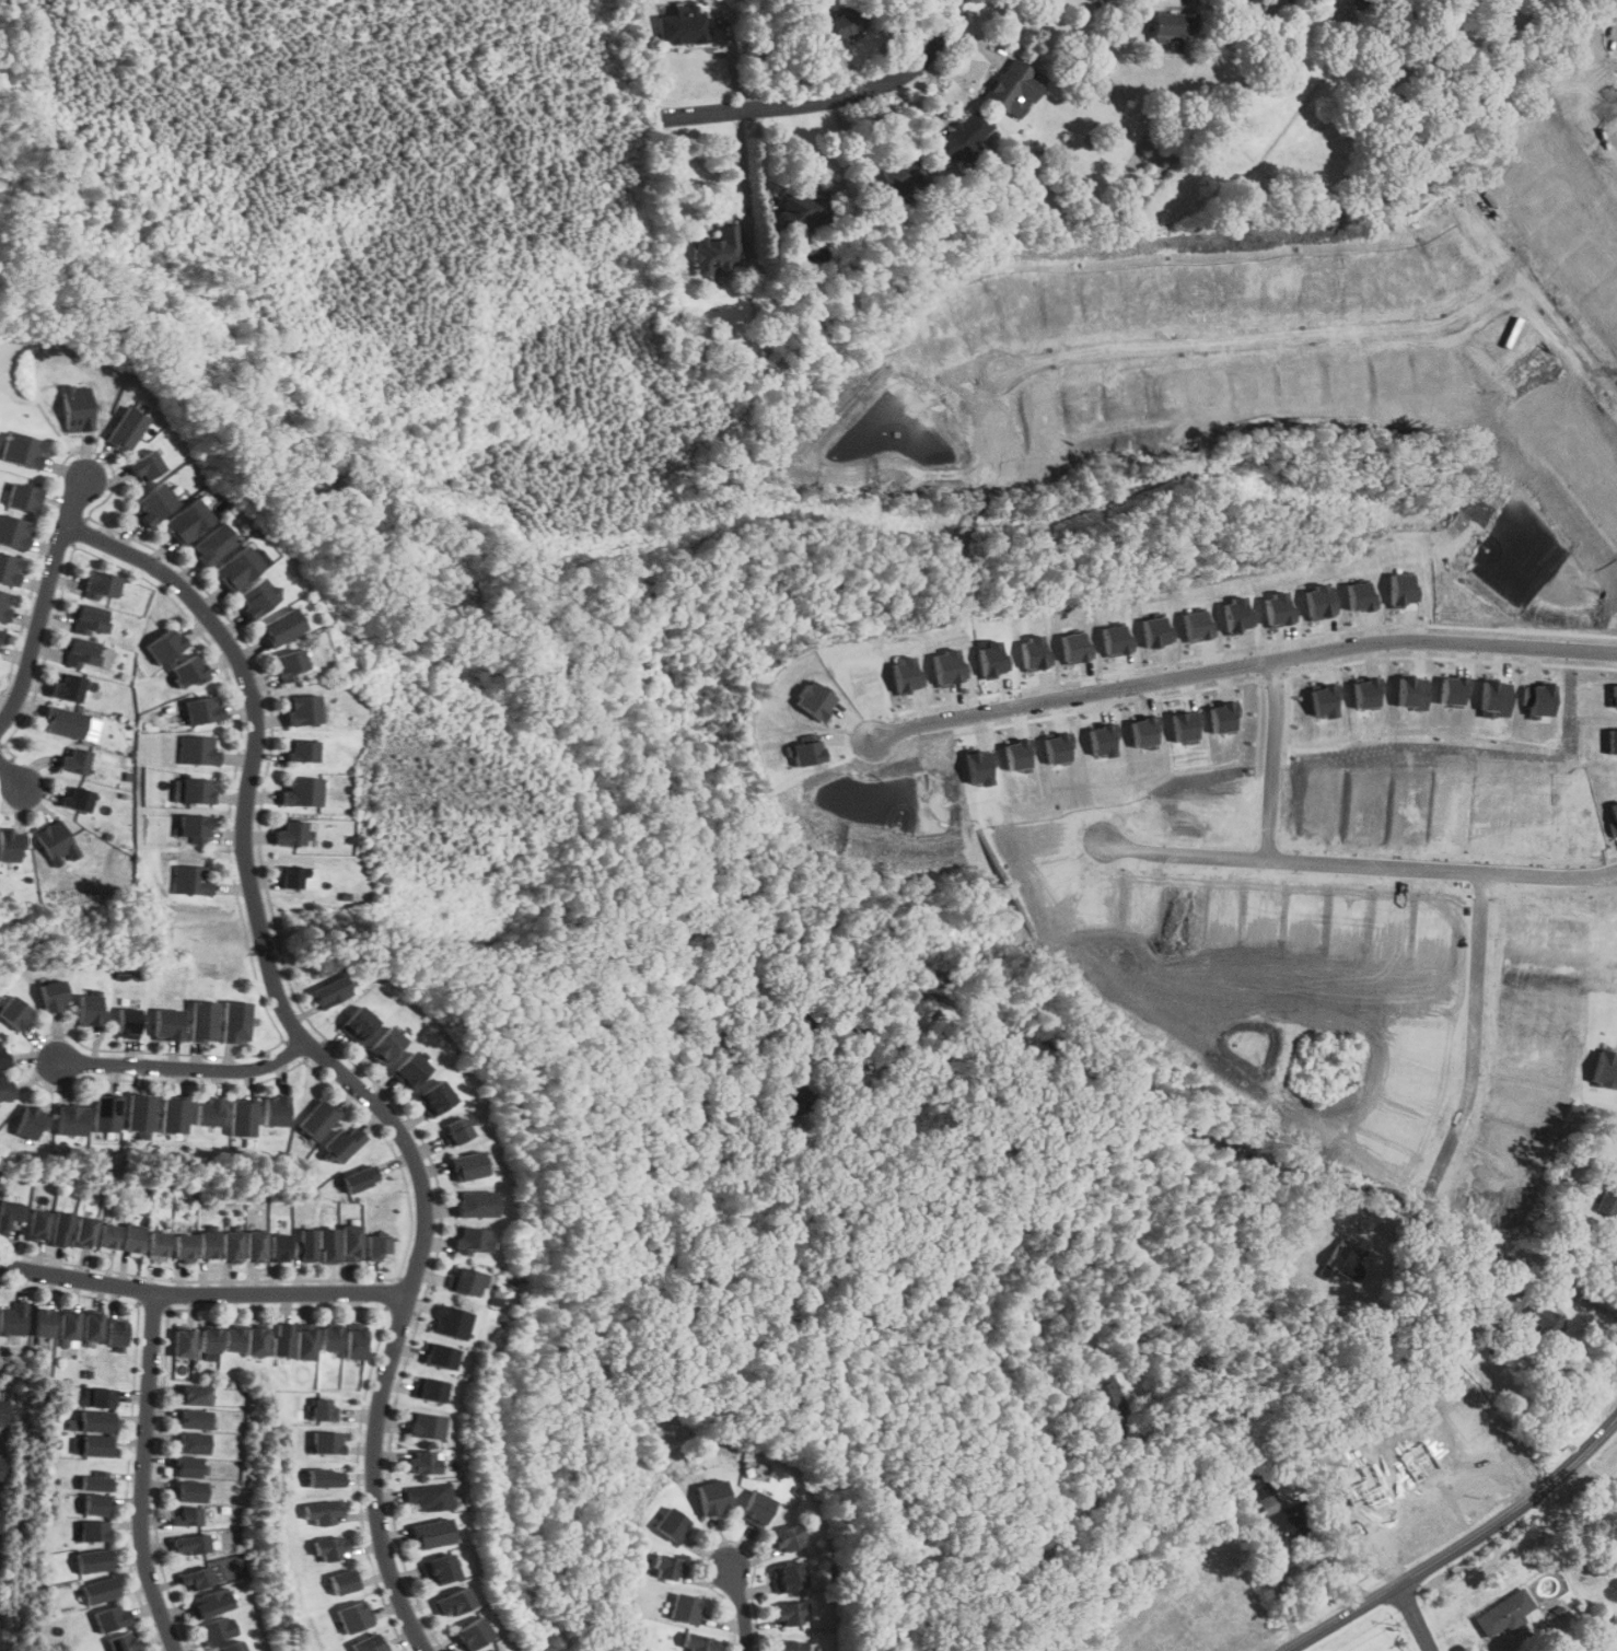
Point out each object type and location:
building: (1106, 0)
building: (1248, 3)
building: (1172, 23)
building: (844, 24)
building: (683, 25)
building: (1011, 86)
road: (831, 98)
building: (956, 137)
road: (759, 165)
road: (743, 176)
building: (896, 177)
building: (802, 206)
building: (718, 249)
road: (1539, 284)
road: (1278, 340)
building: (78, 408)
building: (126, 428)
building: (21, 450)
building: (146, 465)
building: (21, 497)
building: (153, 503)
building: (187, 520)
building: (14, 532)
building: (213, 543)
building: (9, 568)
building: (237, 568)
building: (101, 583)
building: (256, 596)
building: (1359, 596)
road: (44, 602)
building: (4, 604)
building: (90, 619)
building: (279, 627)
building: (0, 632)
building: (166, 644)
building: (81, 652)
road: (1245, 663)
building: (288, 664)
building: (190, 672)
building: (67, 688)
building: (1455, 689)
building: (1369, 691)
building: (1613, 695)
building: (1497, 699)
building: (1326, 700)
building: (1540, 700)
building: (202, 709)
building: (301, 710)
building: (1225, 717)
building: (65, 721)
building: (1105, 739)
building: (1612, 741)
building: (199, 749)
building: (301, 751)
building: (75, 759)
road: (1286, 759)
road: (11, 776)
building: (197, 790)
building: (299, 791)
building: (77, 800)
building: (1613, 818)
building: (195, 827)
building: (289, 833)
building: (57, 842)
building: (10, 845)
road: (1366, 868)
building: (299, 877)
building: (193, 880)
building: (331, 991)
building: (51, 995)
building: (89, 1010)
building: (13, 1012)
building: (127, 1020)
building: (202, 1020)
building: (236, 1021)
building: (358, 1023)
building: (166, 1024)
road: (1482, 1034)
building: (386, 1045)
building: (1, 1055)
road: (324, 1057)
road: (185, 1068)
building: (410, 1070)
road: (1104, 1073)
building: (5, 1088)
building: (434, 1097)
building: (799, 1098)
building: (276, 1111)
building: (209, 1112)
building: (106, 1113)
building: (140, 1113)
building: (175, 1114)
building: (243, 1117)
building: (318, 1118)
building: (71, 1119)
building: (32, 1121)
building: (455, 1128)
building: (345, 1142)
building: (467, 1165)
building: (359, 1177)
building: (1607, 1198)
building: (475, 1202)
building: (9, 1212)
building: (37, 1224)
building: (59, 1225)
building: (84, 1232)
building: (107, 1236)
building: (131, 1239)
building: (469, 1239)
building: (351, 1242)
building: (328, 1243)
building: (305, 1244)
building: (377, 1244)
building: (158, 1245)
building: (208, 1245)
building: (256, 1245)
building: (184, 1246)
building: (232, 1246)
building: (279, 1247)
road: (1489, 1251)
building: (464, 1279)
road: (202, 1293)
building: (13, 1319)
building: (42, 1321)
building: (451, 1321)
building: (1540, 1322)
building: (68, 1325)
building: (91, 1326)
building: (115, 1333)
building: (282, 1338)
building: (330, 1338)
building: (234, 1339)
building: (257, 1341)
building: (306, 1341)
building: (70, 1342)
building: (184, 1342)
building: (211, 1344)
building: (354, 1344)
building: (439, 1356)
building: (429, 1387)
building: (195, 1395)
building: (1106, 1396)
building: (98, 1397)
building: (324, 1409)
building: (2, 1412)
building: (194, 1419)
building: (91, 1421)
building: (423, 1425)
building: (328, 1442)
building: (193, 1443)
building: (95, 1445)
building: (421, 1462)
building: (1, 1465)
building: (188, 1465)
road: (143, 1475)
building: (327, 1477)
building: (94, 1481)
building: (190, 1491)
building: (427, 1497)
building: (710, 1497)
building: (95, 1503)
building: (755, 1509)
building: (325, 1512)
building: (1282, 1513)
building: (0, 1514)
building: (186, 1516)
building: (668, 1524)
building: (93, 1530)
building: (429, 1533)
building: (786, 1538)
building: (190, 1544)
road: (1459, 1547)
building: (333, 1548)
building: (93, 1561)
road: (1327, 1565)
building: (666, 1567)
building: (437, 1569)
road: (1000, 1576)
building: (787, 1577)
building: (196, 1580)
building: (344, 1582)
road: (1278, 1584)
building: (100, 1590)
building: (450, 1601)
building: (209, 1602)
building: (684, 1608)
road: (742, 1608)
building: (790, 1614)
building: (1504, 1614)
building: (354, 1616)
building: (110, 1617)
road: (1415, 1617)
building: (217, 1629)
building: (468, 1635)
building: (1607, 1636)
building: (124, 1642)
building: (368, 1643)
building: (698, 1643)
building: (790, 1646)
building: (231, 1648)
building: (1040, 1648)
building: (493, 1650)

